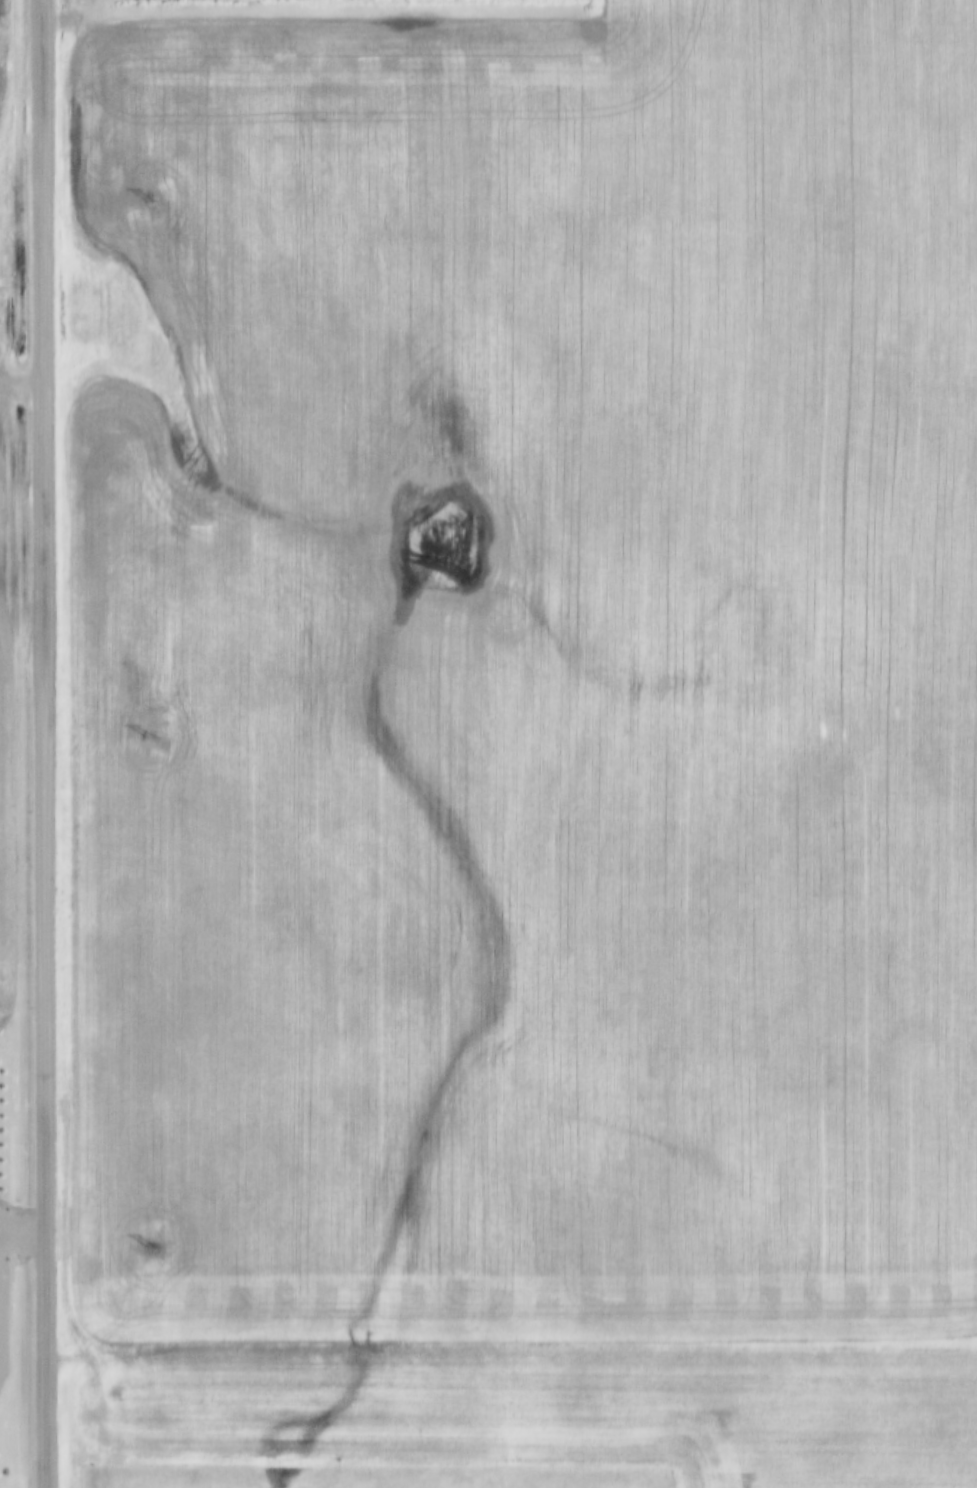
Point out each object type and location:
power tower: (149, 202)
power tower: (151, 741)
road: (45, 744)
power tower: (152, 1249)

